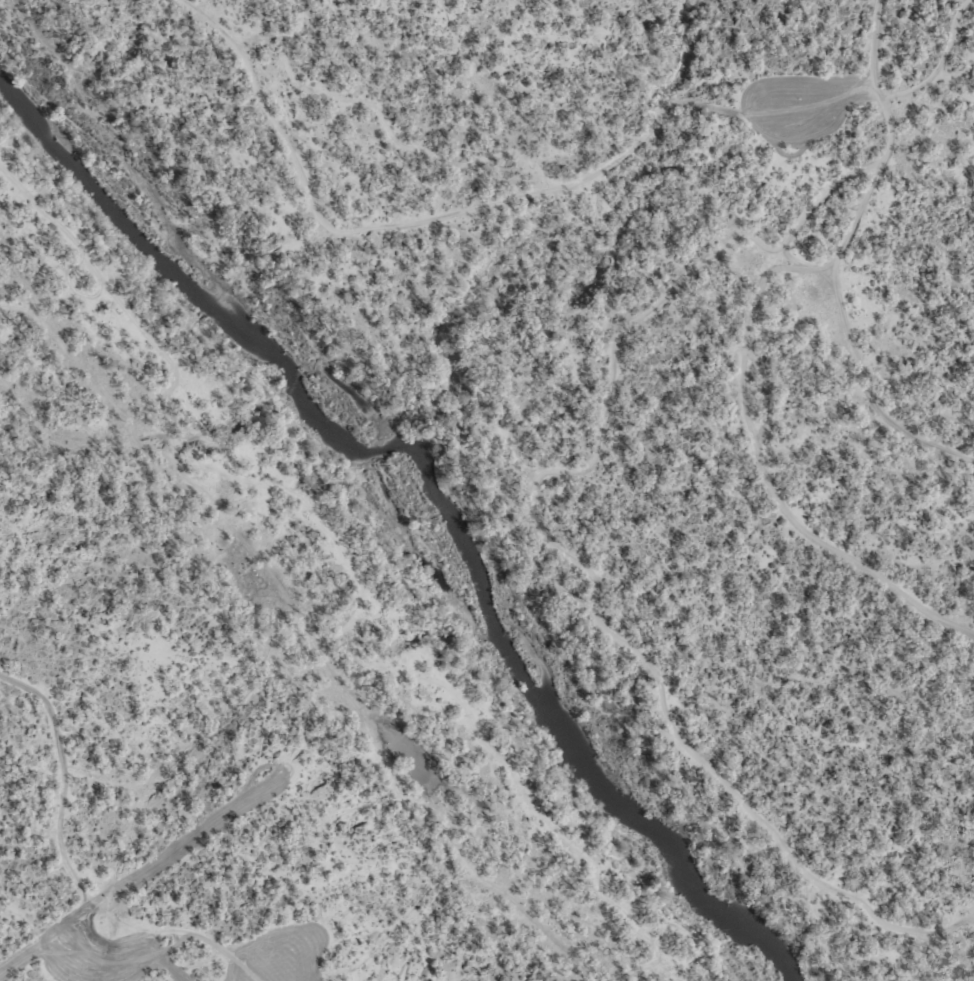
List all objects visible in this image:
road: (588, 168)
river: (438, 483)

